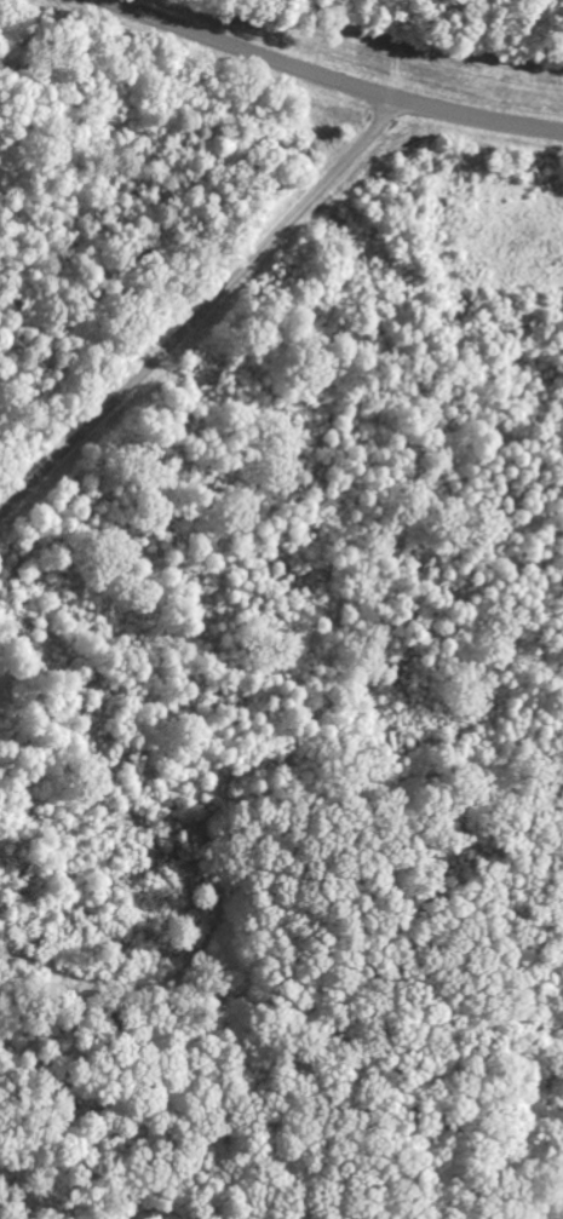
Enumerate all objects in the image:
road: (327, 80)
road: (142, 231)

